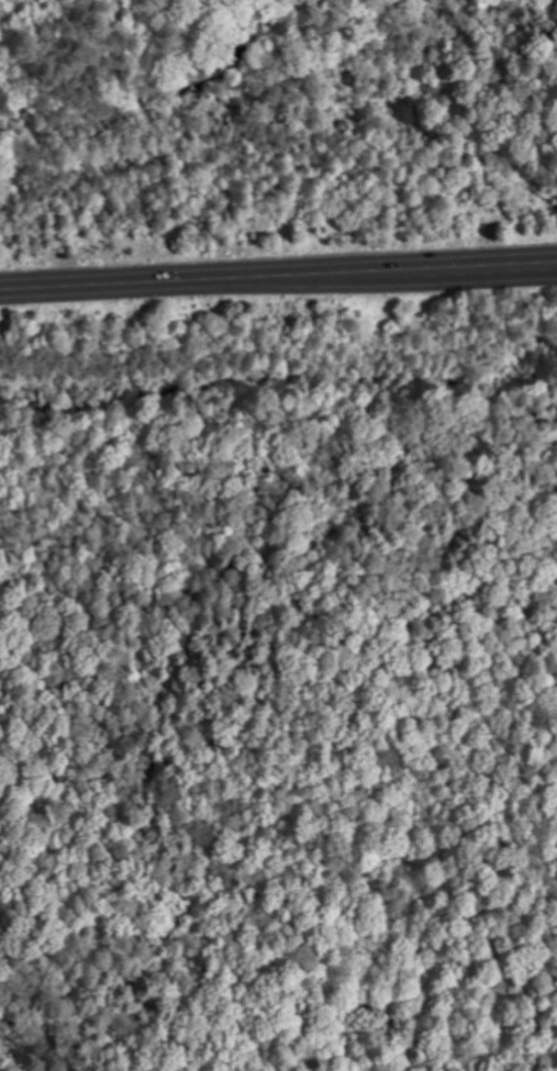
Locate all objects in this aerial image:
road: (278, 277)

